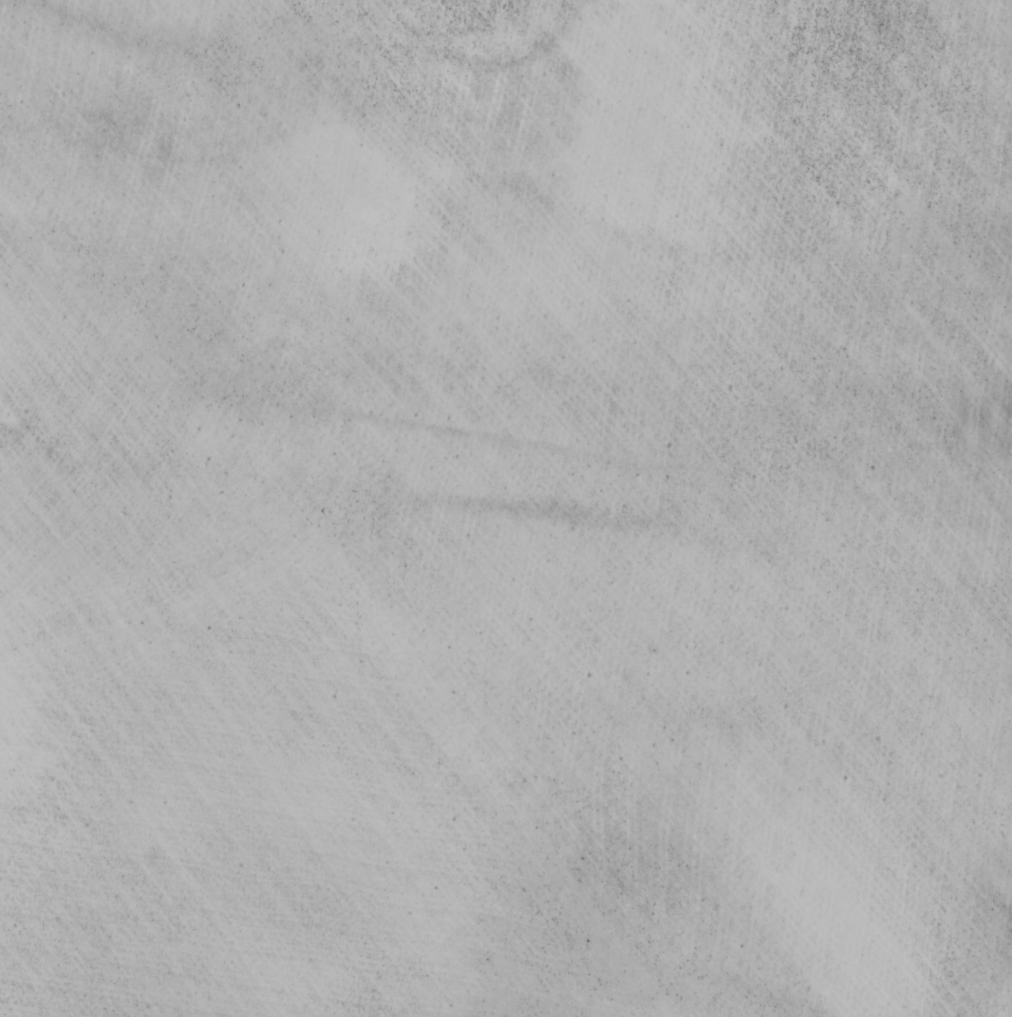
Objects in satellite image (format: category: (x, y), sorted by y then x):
crop: (506, 508)

